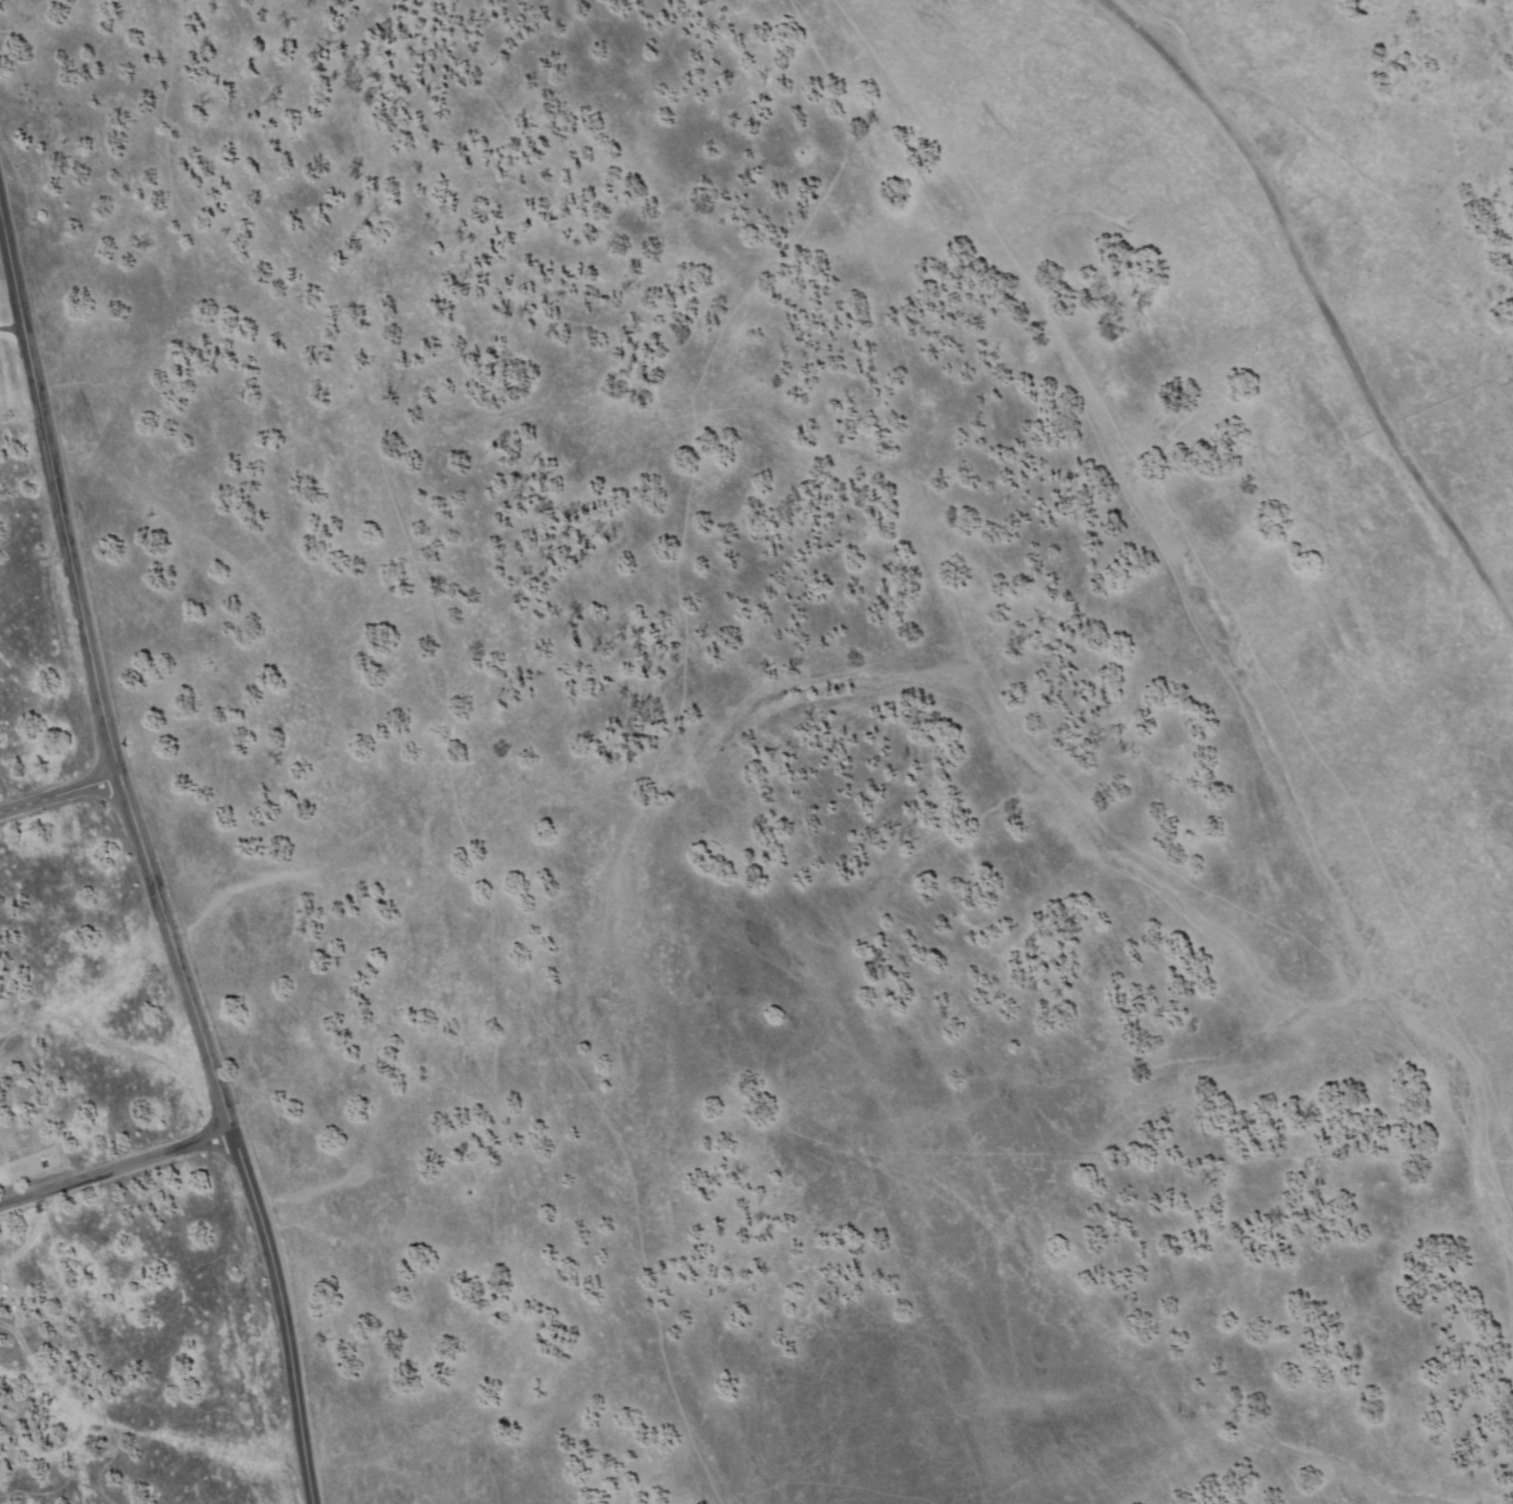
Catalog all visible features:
road: (1319, 304)
road: (58, 794)
road: (145, 873)
road: (113, 1168)
building: (73, 1358)

